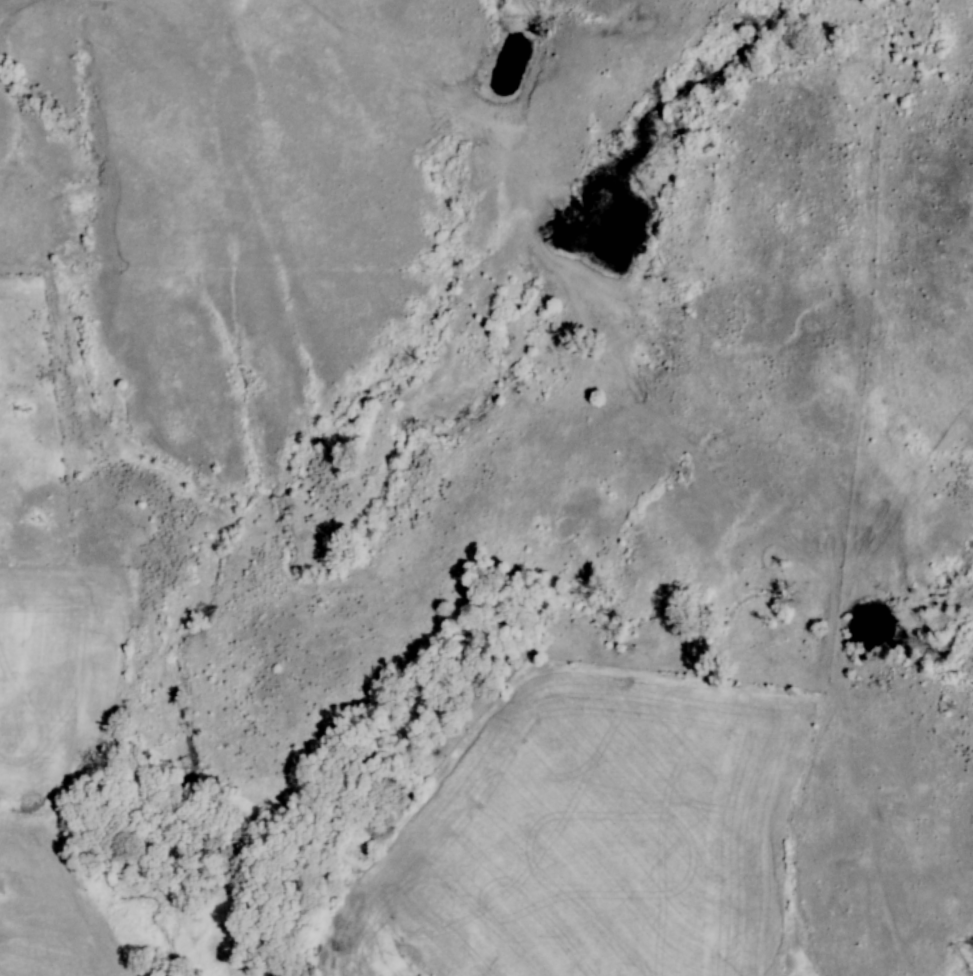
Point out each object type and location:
crop: (54, 667)
crop: (43, 913)

